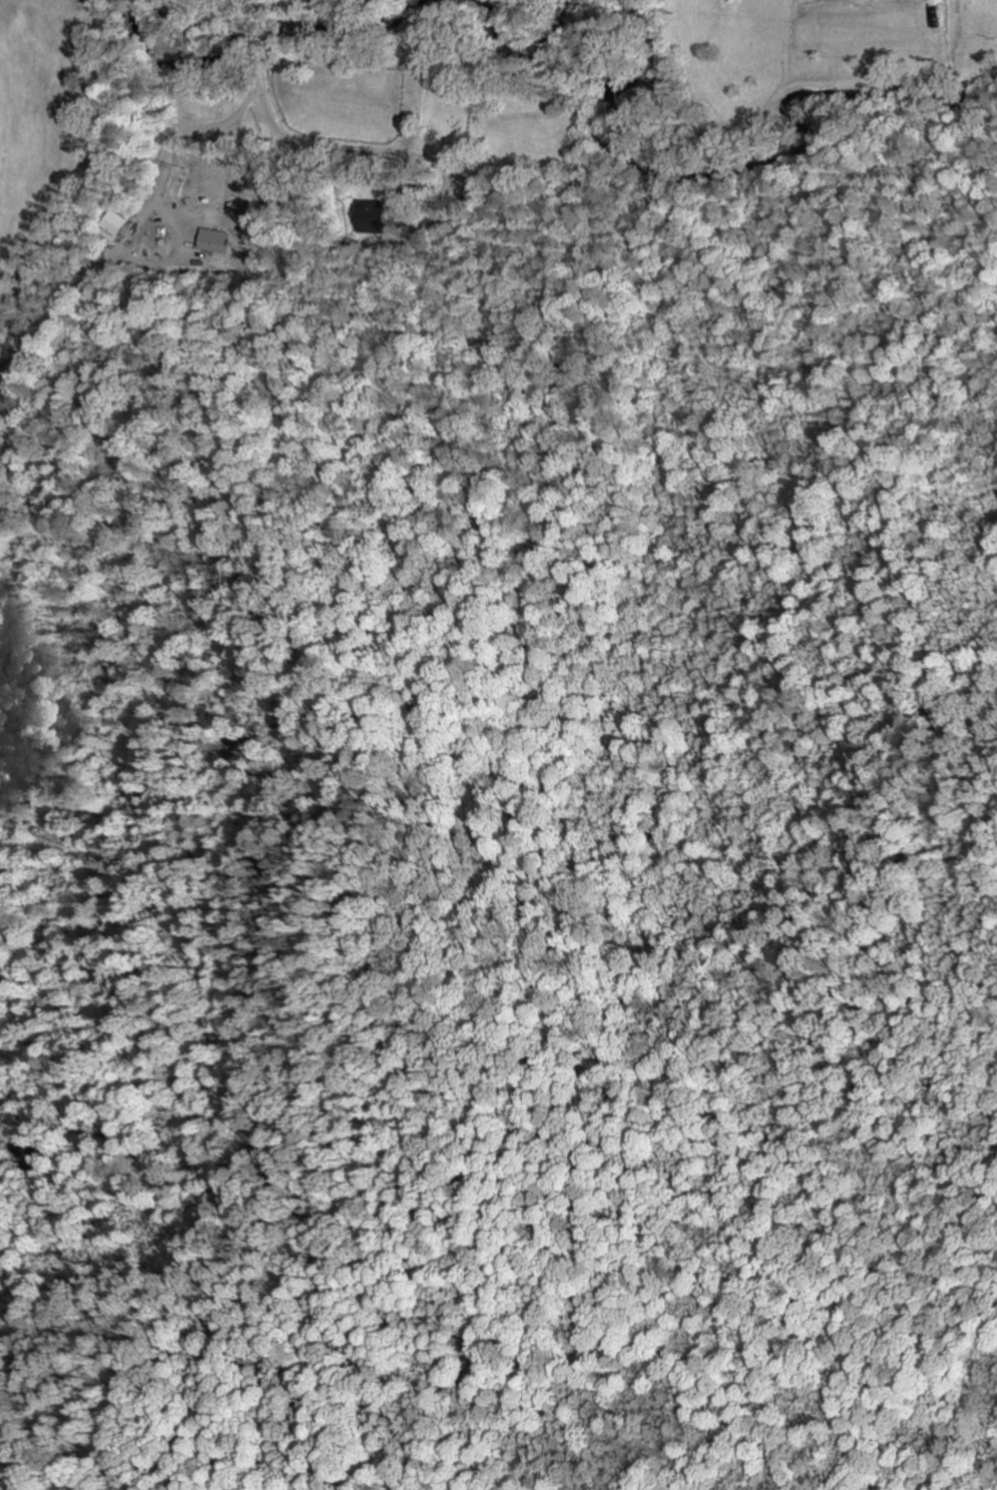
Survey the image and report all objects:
road: (64, 166)
building: (213, 242)
road: (63, 1385)

